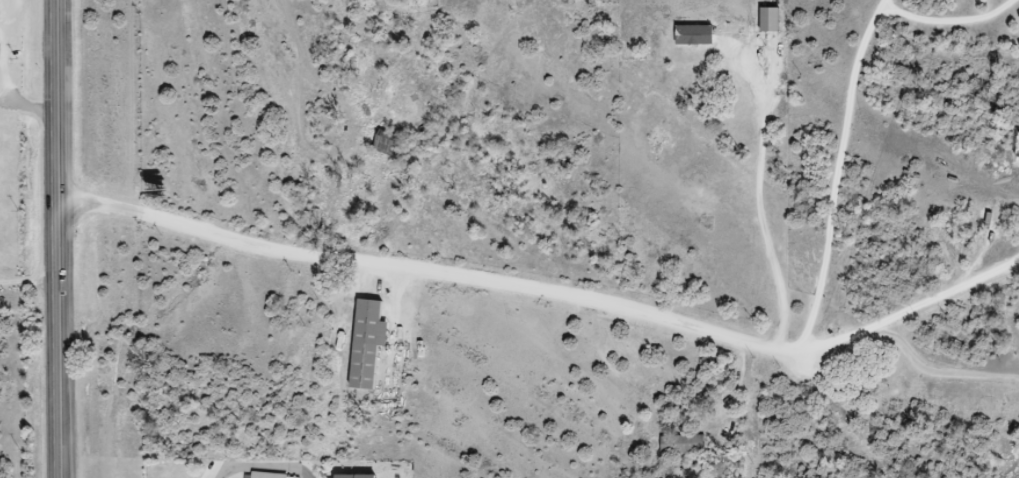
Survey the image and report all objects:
road: (947, 15)
building: (765, 18)
building: (698, 34)
building: (1, 53)
road: (839, 178)
road: (763, 208)
building: (984, 216)
road: (62, 239)
road: (436, 270)
road: (31, 276)
road: (910, 304)
building: (373, 343)
road: (908, 356)
building: (678, 443)
road: (262, 462)

